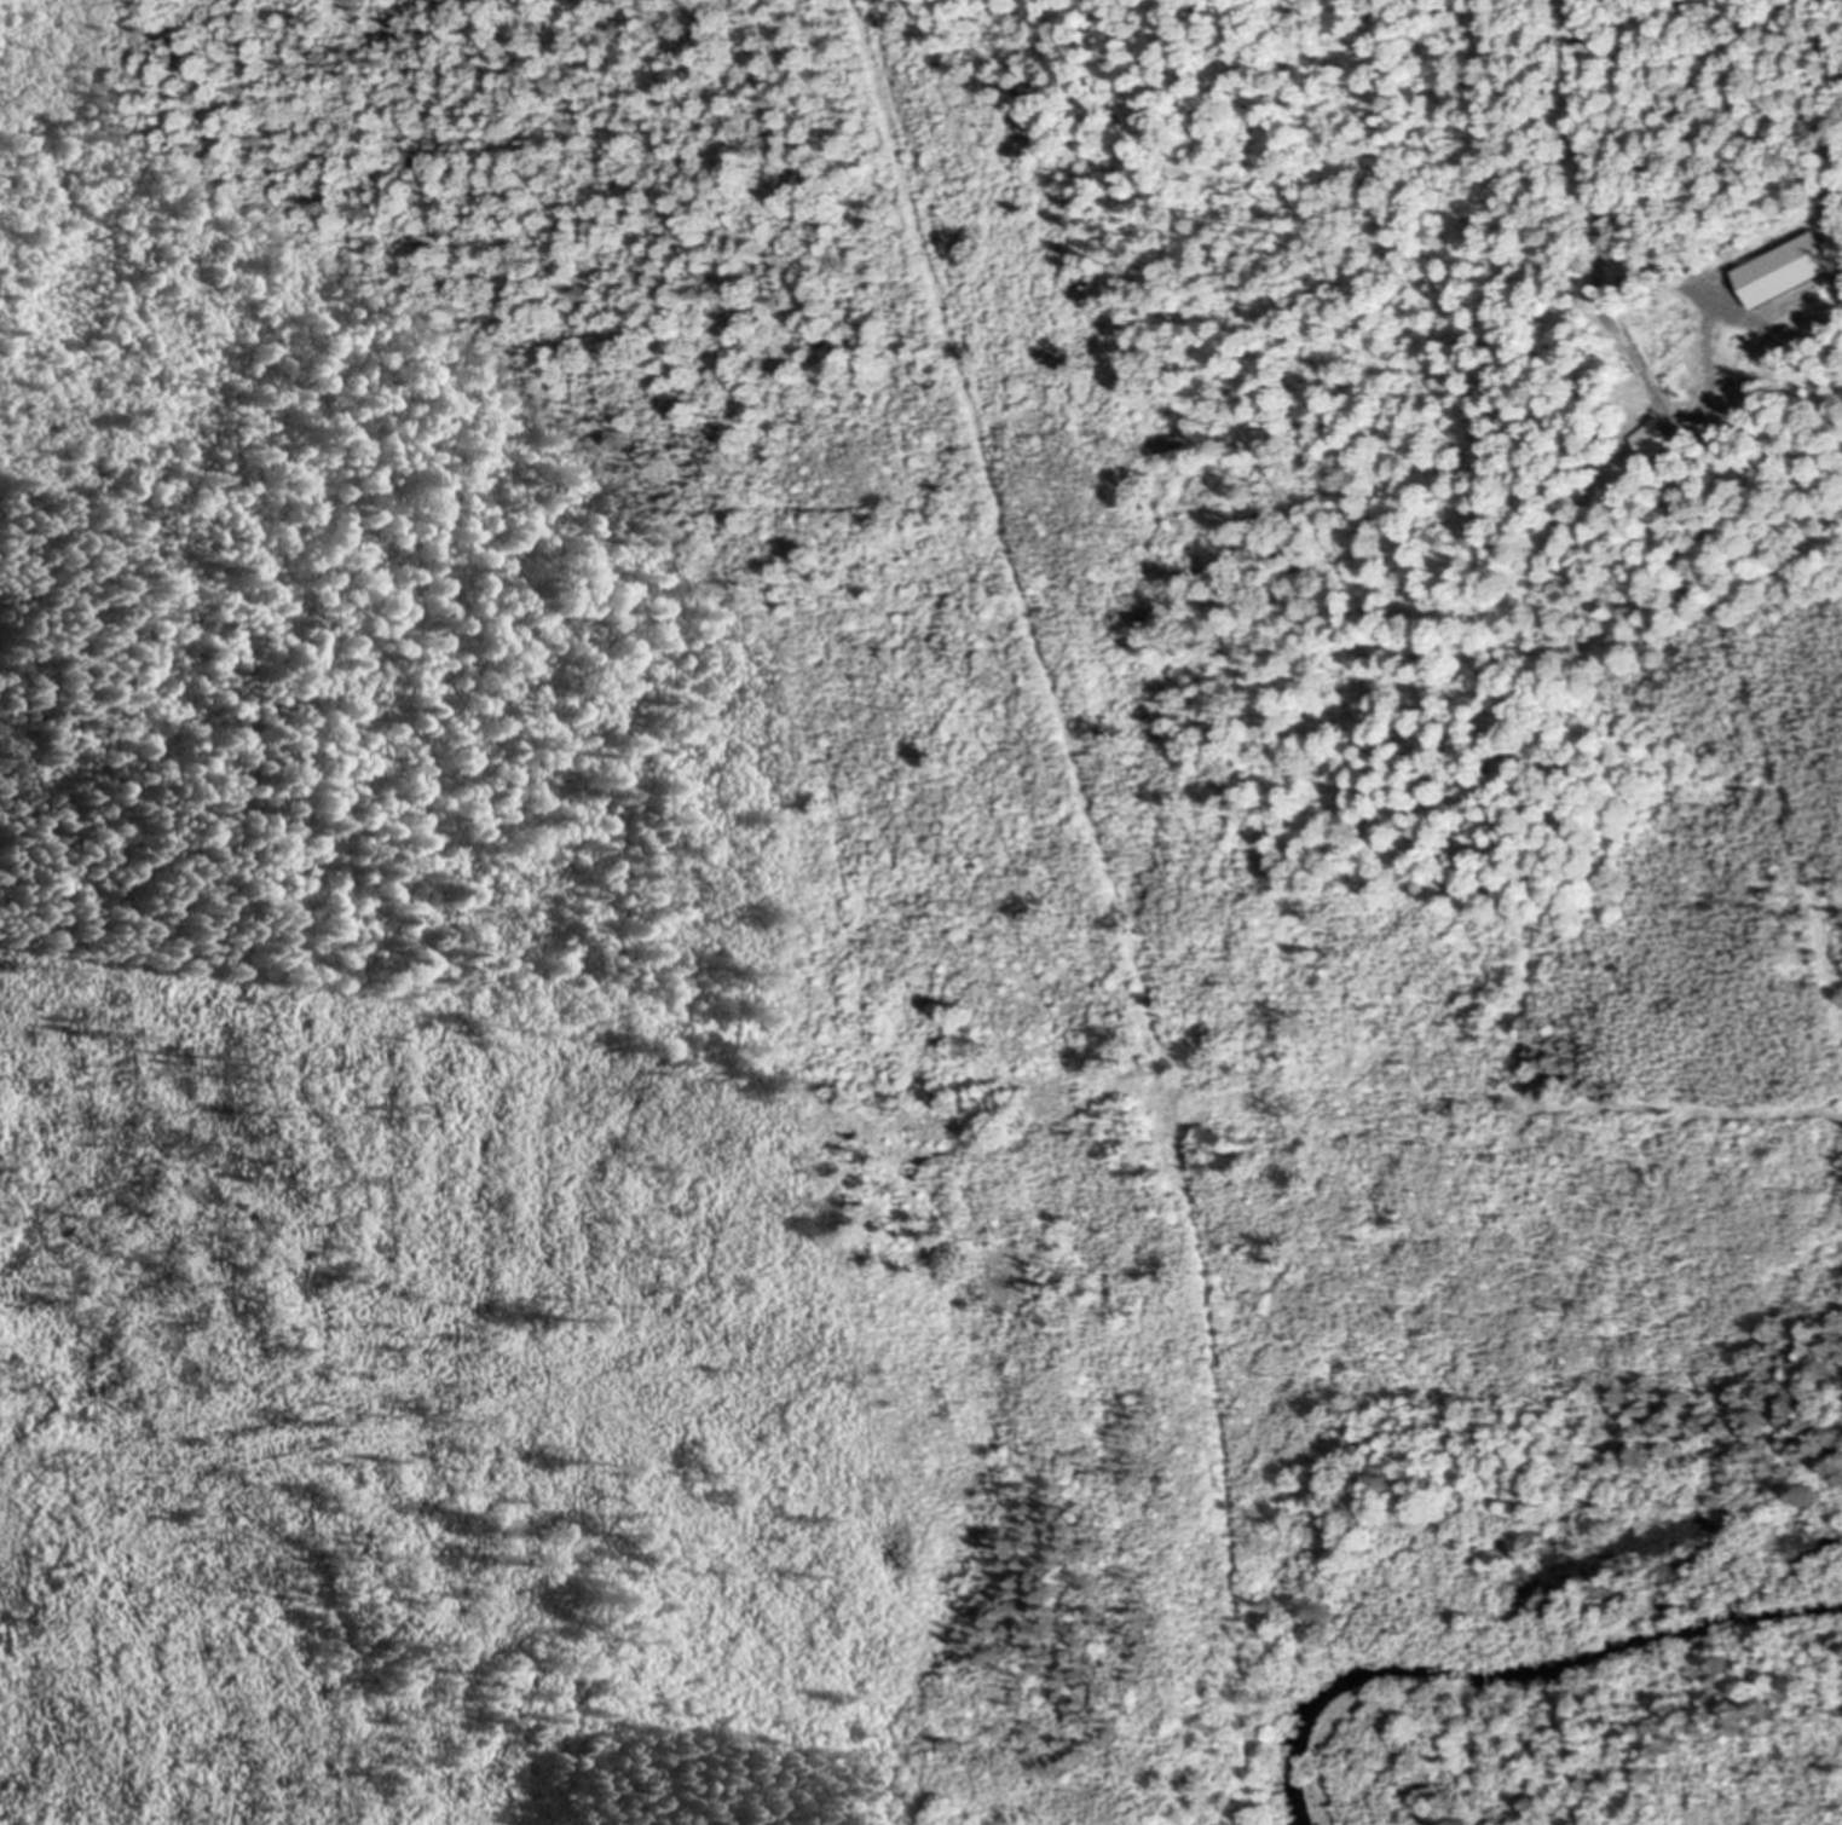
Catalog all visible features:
building: (1790, 270)
road: (1610, 308)
building: (1657, 440)
river: (1537, 1682)

